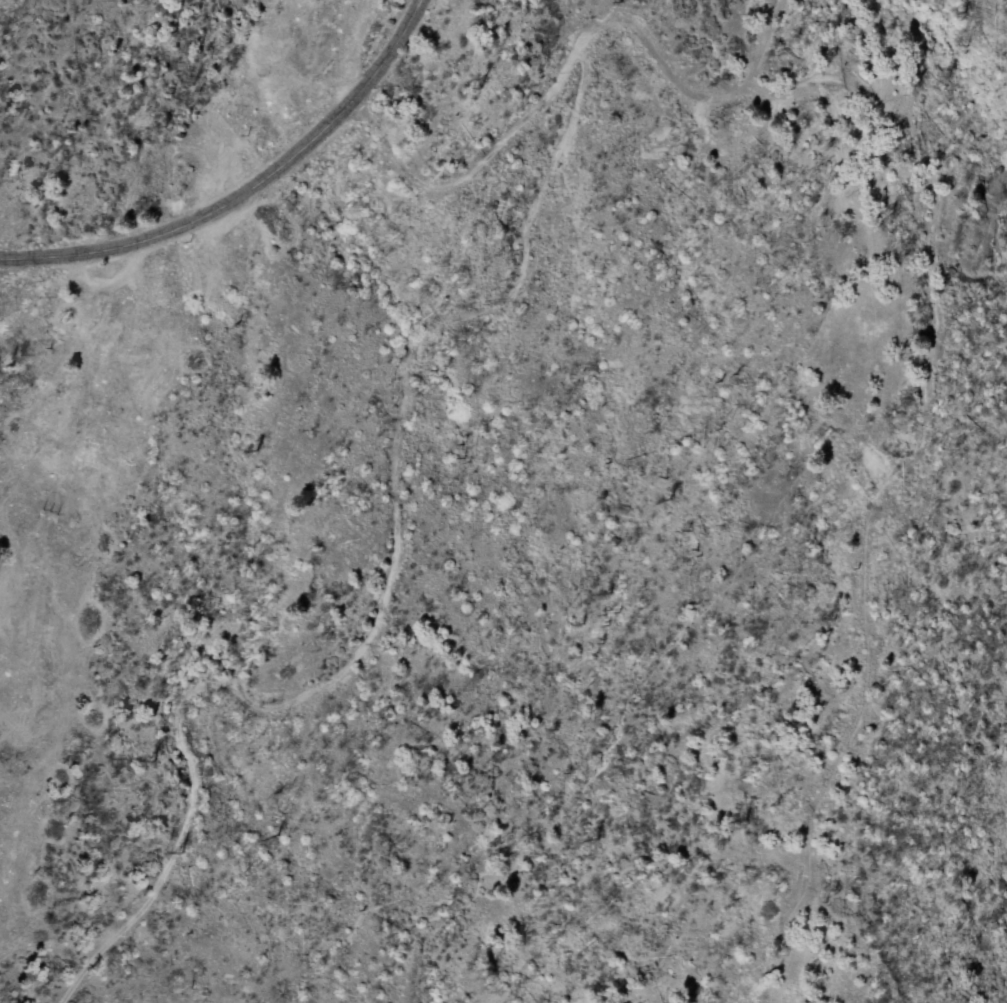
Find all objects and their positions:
road: (537, 109)
road: (248, 193)
road: (503, 505)

